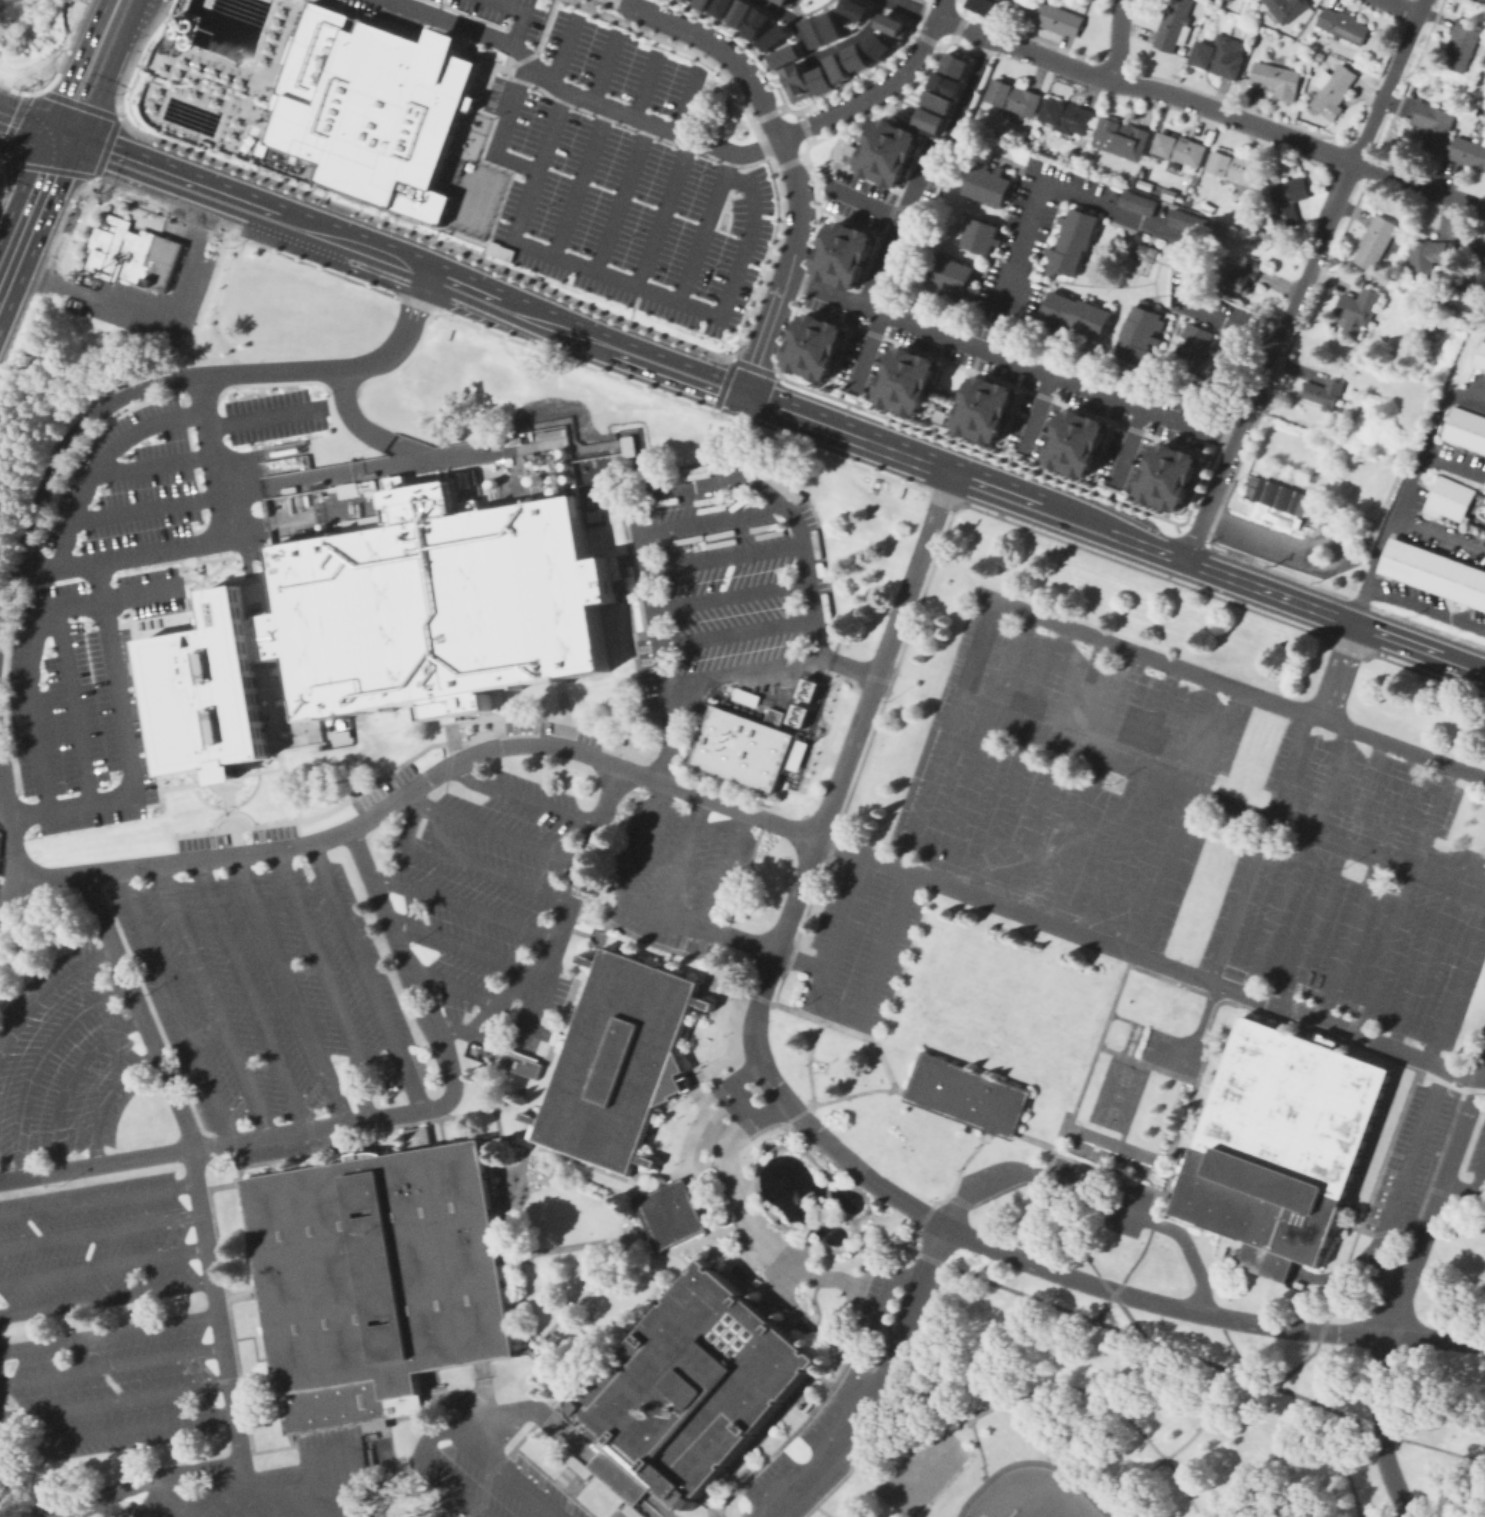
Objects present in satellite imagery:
building: (683, 0)
road: (207, 2)
building: (790, 2)
building: (1083, 3)
building: (702, 4)
building: (988, 6)
road: (1401, 7)
building: (721, 8)
road: (815, 8)
building: (853, 8)
road: (914, 8)
building: (1285, 9)
road: (797, 10)
road: (687, 13)
building: (739, 13)
road: (519, 14)
building: (1054, 17)
road: (16, 19)
building: (755, 24)
building: (891, 24)
building: (1343, 25)
building: (830, 26)
building: (1174, 26)
road: (964, 27)
building: (813, 31)
building: (1262, 33)
road: (1118, 36)
building: (773, 37)
building: (878, 44)
building: (1462, 44)
road: (563, 49)
building: (1182, 50)
road: (819, 54)
building: (1319, 54)
building: (1484, 54)
building: (784, 55)
building: (1220, 55)
building: (855, 58)
road: (58, 64)
road: (604, 65)
building: (959, 66)
road: (979, 66)
building: (838, 68)
road: (91, 69)
building: (1277, 77)
road: (223, 80)
building: (821, 80)
building: (795, 83)
road: (645, 84)
building: (950, 85)
road: (880, 91)
building: (1333, 91)
road: (1174, 93)
road: (578, 95)
building: (1014, 97)
road: (686, 99)
building: (942, 102)
building: (373, 107)
road: (113, 115)
building: (1068, 116)
road: (12, 120)
building: (1431, 120)
building: (934, 122)
road: (502, 125)
road: (30, 127)
traffic signals: (61, 138)
building: (1122, 138)
building: (1180, 150)
building: (887, 151)
building: (1469, 152)
road: (787, 160)
parking lot: (611, 161)
building: (1235, 167)
road: (579, 180)
building: (1133, 181)
building: (987, 182)
road: (1419, 184)
road: (36, 185)
road: (82, 191)
road: (620, 195)
parking lot: (857, 198)
road: (865, 201)
building: (1136, 201)
building: (1288, 201)
building: (1208, 208)
road: (30, 209)
parking lot: (1161, 210)
road: (662, 211)
road: (1131, 216)
building: (1187, 220)
parking lot: (913, 223)
road: (899, 228)
building: (979, 235)
building: (1070, 240)
building: (1375, 241)
parking lot: (1024, 243)
building: (498, 250)
building: (1477, 250)
building: (131, 253)
building: (844, 253)
building: (1426, 257)
road: (738, 258)
building: (1142, 258)
road: (596, 271)
building: (950, 276)
building: (1238, 279)
road: (1304, 279)
building: (1475, 282)
road: (1023, 287)
parking lot: (1177, 289)
parking lot: (1231, 309)
building: (1358, 310)
road: (147, 311)
building: (1077, 315)
building: (1142, 335)
building: (185, 337)
building: (814, 346)
building: (1196, 346)
parking lot: (855, 347)
building: (1359, 347)
road: (866, 349)
road: (622, 350)
building: (1479, 354)
parking lot: (1051, 356)
road: (1012, 359)
road: (342, 366)
building: (907, 378)
building: (1193, 386)
parking lot: (1032, 392)
building: (1325, 393)
traffic signals: (742, 398)
building: (985, 407)
building: (1370, 410)
road: (1036, 411)
building: (1465, 428)
road: (366, 429)
building: (550, 432)
road: (1428, 434)
building: (1076, 440)
parking lot: (1116, 442)
building: (628, 445)
road: (1127, 445)
road: (56, 455)
road: (102, 457)
road: (216, 458)
road: (392, 464)
road: (153, 466)
building: (1168, 475)
road: (1407, 484)
building: (1447, 499)
building: (502, 501)
building: (1278, 503)
road: (146, 507)
road: (634, 513)
road: (1109, 516)
road: (266, 521)
building: (363, 522)
road: (688, 523)
road: (1389, 523)
road: (1249, 535)
road: (722, 555)
road: (123, 559)
building: (1434, 571)
parking lot: (725, 577)
road: (728, 594)
building: (438, 605)
road: (1425, 605)
road: (1334, 613)
parking lot: (101, 619)
building: (199, 622)
road: (735, 629)
building: (256, 638)
road: (31, 640)
road: (851, 667)
road: (1340, 670)
road: (1233, 684)
building: (203, 692)
building: (807, 692)
road: (74, 707)
building: (447, 719)
parking lot: (554, 729)
road: (945, 731)
road: (672, 733)
road: (852, 734)
road: (983, 744)
road: (128, 745)
building: (742, 746)
building: (795, 754)
road: (1017, 757)
road: (1055, 771)
parking lot: (1065, 775)
road: (1093, 784)
parking lot: (386, 785)
road: (524, 794)
road: (706, 797)
road: (1127, 797)
road: (1219, 799)
road: (390, 803)
road: (1164, 810)
road: (1191, 820)
road: (496, 826)
road: (1259, 844)
road: (13, 849)
road: (682, 856)
road: (1297, 858)
road: (1453, 859)
road: (467, 864)
road: (720, 867)
road: (94, 870)
parking lot: (675, 870)
road: (1332, 871)
parking lot: (478, 875)
road: (1368, 884)
parking lot: (1359, 892)
road: (1403, 897)
road: (460, 905)
road: (666, 919)
road: (560, 925)
road: (461, 944)
road: (1425, 953)
road: (1147, 955)
road: (367, 975)
road: (325, 977)
road: (1457, 979)
road: (456, 986)
road: (291, 988)
parking lot: (282, 991)
road: (253, 993)
road: (45, 997)
road: (214, 999)
road: (179, 1003)
road: (535, 1004)
road: (839, 1013)
road: (832, 1025)
road: (1196, 1031)
building: (557, 1034)
road: (733, 1045)
road: (808, 1060)
road: (41, 1061)
building: (617, 1061)
parking lot: (66, 1063)
building: (519, 1064)
flagpole: (819, 1065)
road: (75, 1080)
road: (451, 1084)
road: (900, 1091)
building: (966, 1095)
park: (1116, 1095)
road: (742, 1099)
road: (113, 1102)
road: (810, 1102)
road: (480, 1110)
building: (416, 1136)
building: (513, 1137)
road: (498, 1139)
building: (1278, 1146)
road: (802, 1151)
parking lot: (1476, 1156)
parking lot: (1409, 1162)
road: (95, 1163)
road: (602, 1170)
road: (1403, 1178)
road: (1481, 1181)
road: (1462, 1187)
road: (941, 1188)
road: (693, 1191)
road: (827, 1191)
road: (99, 1200)
road: (1092, 1200)
road: (742, 1211)
road: (823, 1212)
building: (669, 1214)
road: (814, 1228)
road: (102, 1233)
road: (1353, 1236)
road: (573, 1242)
parking lot: (97, 1243)
road: (208, 1243)
road: (867, 1244)
road: (798, 1246)
road: (667, 1253)
road: (104, 1268)
road: (869, 1268)
road: (1056, 1271)
road: (603, 1276)
building: (376, 1279)
road: (776, 1284)
road: (1399, 1284)
parking lot: (889, 1295)
road: (1030, 1297)
road: (107, 1299)
road: (914, 1299)
road: (570, 1300)
road: (110, 1333)
road: (113, 1368)
road: (549, 1369)
parking lot: (117, 1389)
building: (689, 1390)
road: (117, 1401)
road: (557, 1401)
road: (1107, 1402)
road: (952, 1408)
road: (507, 1413)
road: (1203, 1418)
road: (122, 1433)
road: (1333, 1434)
road: (1398, 1437)
road: (832, 1448)
road: (7, 1449)
park: (929, 1471)
road: (509, 1472)
road: (616, 1475)
parking lot: (487, 1484)
track: (981, 1484)
road: (449, 1485)
road: (251, 1492)
road: (173, 1498)
parking lot: (186, 1502)
park: (1051, 1502)
road: (812, 1504)
road: (470, 1505)
road: (651, 1506)
road: (112, 1508)

